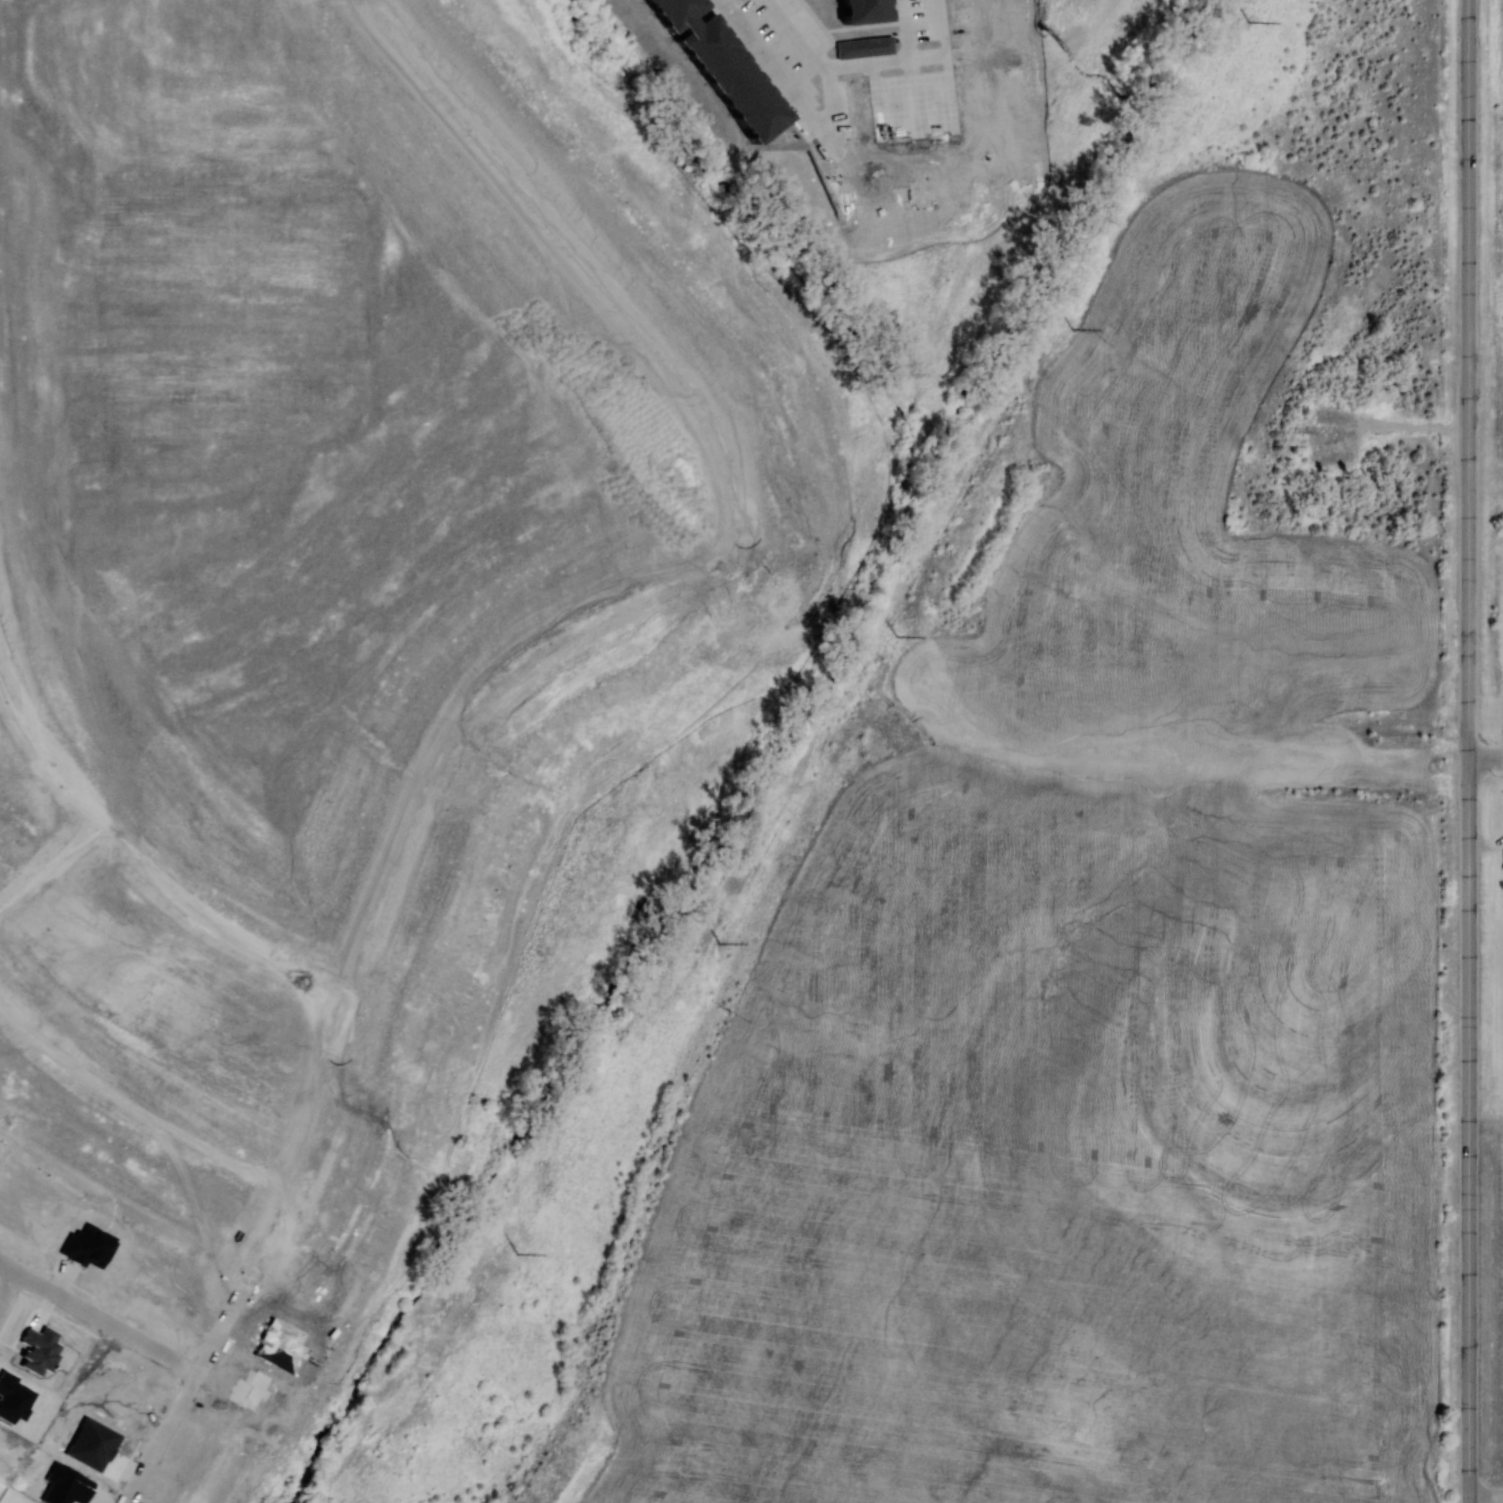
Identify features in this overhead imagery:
power tower: (1248, 22)
road: (840, 52)
road: (588, 230)
power tower: (1072, 327)
road: (1443, 358)
road: (1469, 358)
road: (1412, 424)
road: (791, 545)
road: (734, 555)
road: (830, 569)
road: (692, 594)
road: (865, 608)
road: (874, 618)
power tower: (896, 636)
road: (561, 641)
road: (45, 749)
road: (1414, 756)
road: (431, 802)
road: (49, 872)
road: (162, 888)
road: (245, 939)
power tower: (720, 942)
road: (308, 969)
road: (366, 986)
road: (137, 1116)
road: (1475, 1145)
road: (1455, 1147)
road: (280, 1223)
building: (88, 1246)
power tower: (518, 1254)
road: (8, 1282)
road: (97, 1317)
road: (193, 1379)
road: (157, 1447)
road: (1486, 1497)
road: (1469, 1500)

